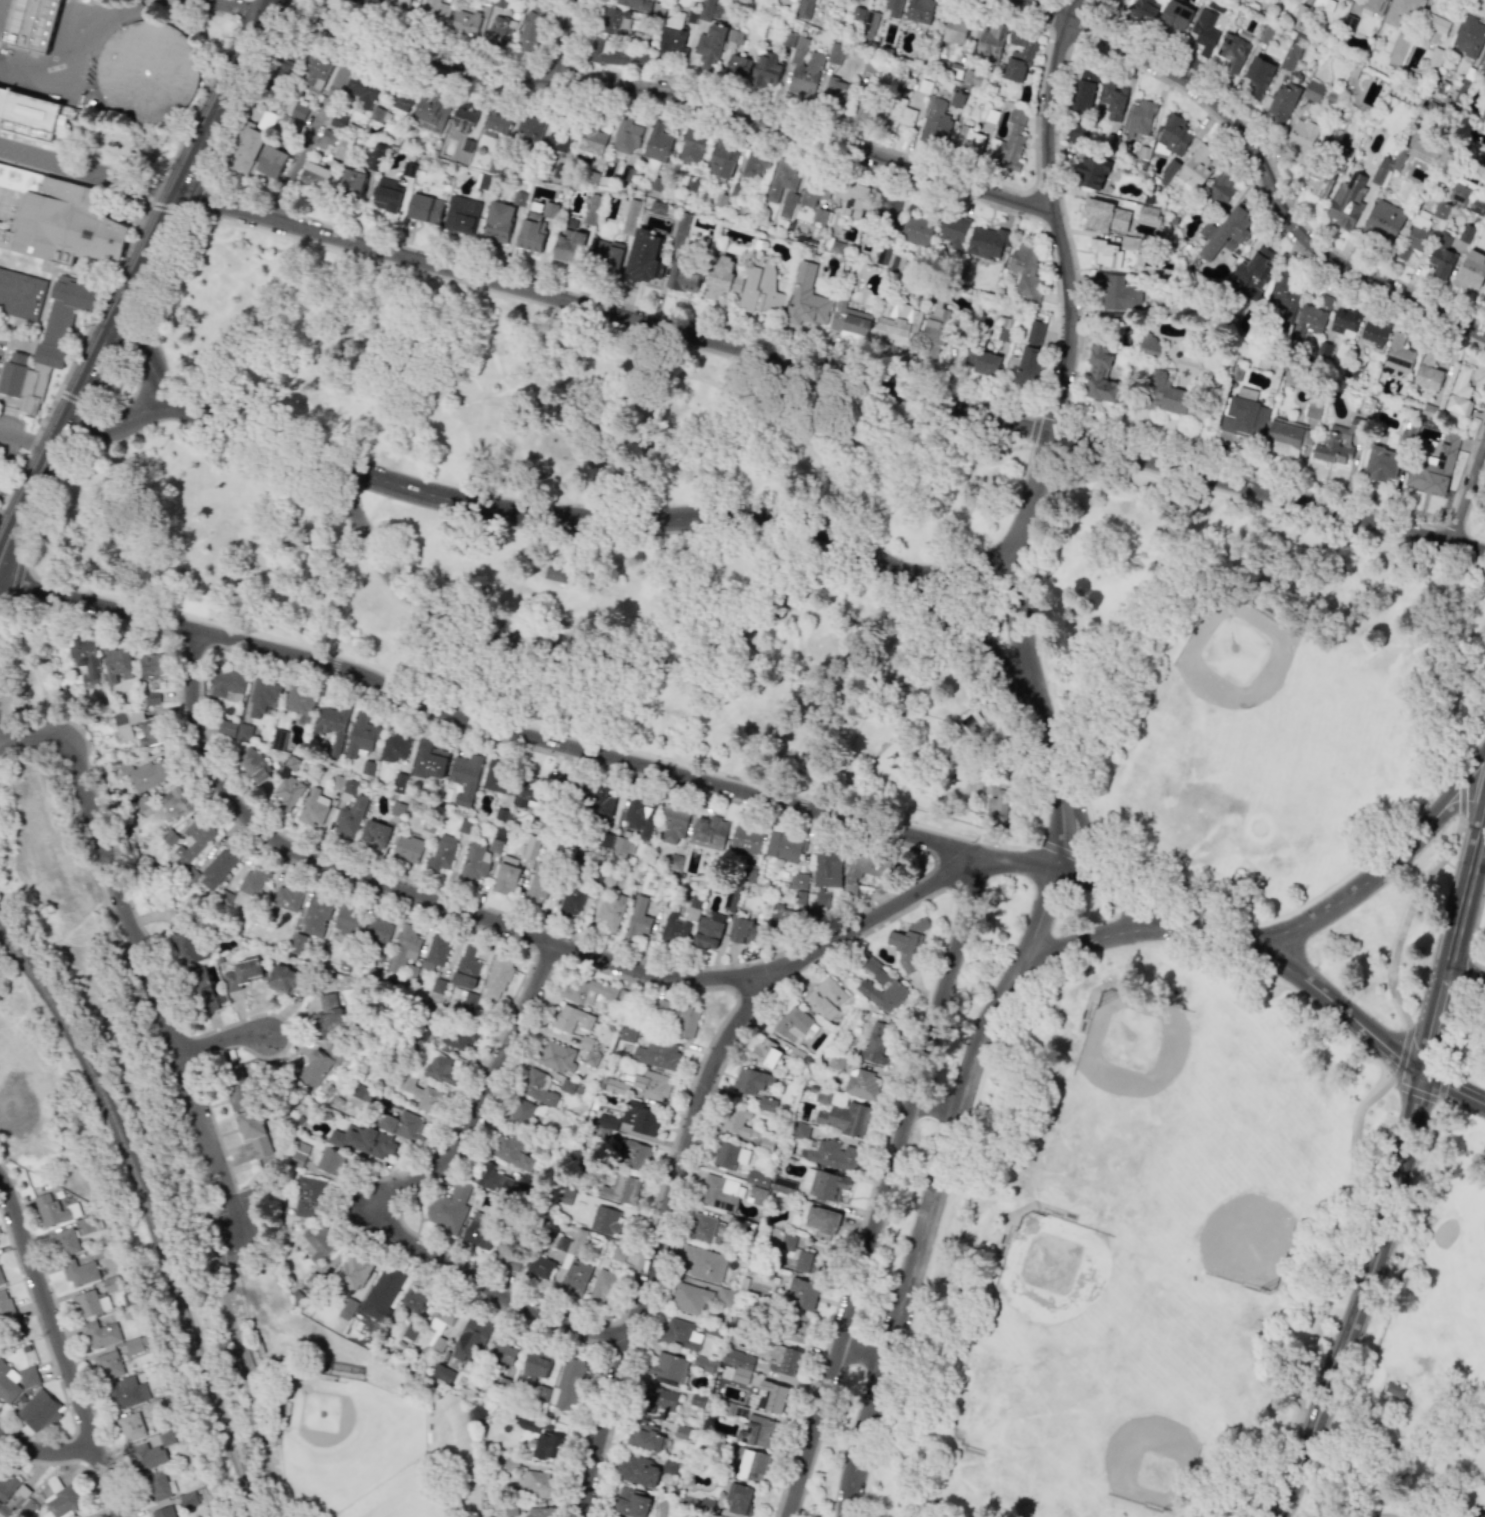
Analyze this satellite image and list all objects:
road: (1053, 0)
building: (365, 2)
building: (398, 3)
building: (1108, 3)
building: (634, 4)
road: (238, 6)
building: (893, 7)
building: (1373, 7)
building: (1145, 8)
building: (805, 9)
building: (919, 10)
building: (435, 11)
road: (286, 12)
building: (705, 12)
building: (857, 15)
building: (1175, 17)
building: (1438, 17)
building: (466, 21)
building: (613, 21)
building: (870, 24)
building: (38, 25)
building: (1398, 27)
building: (530, 28)
building: (500, 30)
building: (955, 30)
building: (1203, 31)
building: (734, 36)
building: (1468, 38)
building: (670, 39)
road: (567, 42)
building: (991, 42)
building: (708, 46)
road: (449, 51)
building: (1233, 52)
building: (835, 53)
building: (613, 54)
building: (1290, 56)
building: (1018, 58)
building: (284, 63)
building: (737, 67)
building: (802, 67)
building: (1482, 68)
building: (147, 69)
storage tank: (147, 69)
building: (764, 69)
building: (314, 74)
building: (1258, 75)
building: (362, 88)
building: (1083, 90)
road: (662, 91)
building: (1312, 91)
building: (399, 97)
building: (1112, 99)
road: (240, 102)
building: (1282, 102)
road: (647, 104)
building: (295, 109)
building: (431, 110)
building: (865, 110)
building: (900, 113)
building: (28, 114)
building: (376, 114)
building: (1483, 114)
building: (1140, 118)
building: (337, 120)
building: (934, 120)
building: (497, 122)
road: (312, 127)
building: (529, 129)
building: (1077, 131)
building: (625, 135)
building: (1173, 135)
building: (324, 139)
building: (558, 139)
building: (1299, 139)
building: (968, 141)
building: (591, 142)
building: (657, 143)
road: (877, 145)
building: (1010, 145)
building: (691, 146)
building: (247, 151)
building: (373, 156)
building: (722, 158)
building: (271, 162)
building: (781, 164)
road: (1257, 164)
building: (754, 166)
building: (1196, 166)
road: (91, 169)
road: (1274, 170)
building: (1091, 171)
building: (315, 176)
building: (1318, 182)
building: (352, 184)
building: (1219, 191)
building: (812, 193)
building: (771, 194)
building: (386, 195)
building: (1458, 195)
road: (193, 196)
building: (787, 205)
building: (424, 208)
building: (660, 208)
building: (852, 208)
building: (1477, 208)
building: (590, 209)
building: (888, 209)
building: (1440, 210)
building: (461, 214)
building: (630, 215)
building: (1148, 215)
building: (819, 216)
building: (1105, 216)
building: (57, 220)
building: (498, 221)
building: (1384, 221)
building: (918, 226)
building: (535, 227)
building: (682, 228)
building: (953, 231)
building: (1224, 233)
building: (1414, 234)
building: (568, 242)
building: (986, 242)
road: (1291, 244)
building: (605, 255)
building: (644, 256)
building: (1441, 256)
building: (1470, 270)
building: (1025, 271)
building: (1254, 272)
building: (719, 277)
road: (137, 278)
building: (683, 279)
building: (761, 288)
building: (1116, 292)
building: (1283, 293)
building: (20, 295)
building: (805, 298)
building: (1484, 298)
building: (898, 319)
building: (849, 321)
building: (1308, 321)
building: (1344, 321)
road: (607, 326)
road: (725, 332)
building: (934, 332)
building: (1374, 334)
building: (46, 343)
building: (1031, 346)
building: (1149, 347)
building: (1399, 353)
road: (149, 357)
building: (986, 363)
building: (1428, 371)
road: (832, 374)
building: (1101, 375)
building: (1293, 379)
road: (1073, 380)
building: (1459, 391)
building: (1312, 410)
road: (201, 417)
building: (1243, 418)
road: (1032, 428)
building: (1286, 437)
road: (1048, 438)
road: (25, 439)
building: (1336, 444)
road: (1465, 460)
building: (1382, 463)
building: (1434, 467)
road: (1466, 487)
road: (12, 494)
road: (584, 518)
road: (1440, 525)
road: (979, 568)
building: (556, 574)
road: (951, 613)
road: (565, 631)
road: (1447, 641)
building: (86, 658)
building: (116, 664)
building: (153, 666)
road: (1044, 666)
street lamp: (1439, 674)
building: (227, 683)
building: (263, 697)
building: (151, 698)
building: (300, 701)
road: (487, 725)
building: (332, 726)
building: (226, 727)
building: (136, 728)
building: (242, 731)
building: (361, 735)
park: (1265, 740)
building: (394, 746)
building: (429, 761)
building: (252, 763)
building: (497, 776)
building: (465, 777)
building: (399, 783)
building: (287, 786)
building: (348, 786)
road: (1460, 788)
building: (529, 792)
building: (174, 801)
building: (601, 804)
building: (313, 807)
building: (998, 807)
building: (639, 816)
building: (349, 818)
building: (673, 824)
building: (709, 832)
building: (374, 836)
building: (169, 838)
building: (745, 839)
building: (193, 840)
building: (495, 845)
building: (620, 846)
building: (782, 846)
building: (407, 848)
building: (441, 853)
building: (673, 861)
building: (473, 863)
road: (1017, 864)
building: (865, 865)
building: (217, 868)
building: (190, 874)
road: (1372, 874)
building: (506, 875)
building: (825, 877)
building: (253, 881)
building: (797, 881)
building: (538, 884)
road: (427, 895)
building: (287, 897)
building: (799, 897)
building: (570, 902)
building: (730, 902)
road: (892, 902)
road: (1141, 904)
park: (1209, 908)
building: (610, 911)
building: (316, 915)
road: (1407, 915)
building: (781, 916)
building: (638, 919)
building: (346, 920)
building: (680, 922)
road: (70, 927)
road: (1473, 929)
building: (378, 930)
building: (708, 930)
building: (745, 930)
road: (132, 937)
road: (1083, 940)
railway: (13, 944)
building: (907, 945)
road: (1452, 945)
road: (12, 947)
building: (185, 947)
building: (404, 947)
building: (435, 951)
building: (466, 968)
road: (1465, 974)
road: (1469, 974)
building: (497, 977)
building: (282, 979)
building: (438, 985)
building: (880, 986)
building: (201, 989)
building: (589, 991)
building: (826, 997)
road: (1330, 1000)
building: (330, 1014)
building: (679, 1018)
building: (571, 1019)
building: (795, 1025)
road: (1455, 1027)
building: (627, 1034)
building: (458, 1037)
road: (221, 1038)
building: (875, 1043)
building: (765, 1053)
road: (1402, 1053)
building: (657, 1054)
building: (555, 1057)
building: (590, 1058)
road: (1377, 1062)
building: (319, 1065)
building: (439, 1068)
park: (1147, 1072)
building: (750, 1081)
road: (1442, 1083)
building: (653, 1085)
building: (862, 1085)
building: (240, 1086)
building: (567, 1086)
building: (535, 1087)
road: (1454, 1089)
road: (491, 1091)
road: (1413, 1091)
building: (420, 1092)
building: (822, 1096)
building: (370, 1098)
building: (767, 1103)
road: (934, 1108)
building: (520, 1111)
building: (640, 1118)
building: (845, 1118)
building: (737, 1122)
building: (402, 1125)
building: (603, 1125)
building: (799, 1130)
building: (256, 1135)
building: (365, 1141)
building: (506, 1148)
building: (299, 1154)
building: (633, 1154)
building: (831, 1154)
building: (729, 1155)
building: (330, 1160)
building: (527, 1163)
building: (757, 1178)
building: (494, 1181)
building: (784, 1184)
building: (829, 1186)
road: (882, 1186)
building: (621, 1189)
road: (937, 1190)
building: (716, 1194)
building: (757, 1195)
building: (564, 1196)
building: (310, 1197)
park: (1247, 1204)
building: (450, 1208)
park: (1472, 1210)
building: (51, 1211)
road: (662, 1218)
road: (235, 1219)
building: (606, 1221)
building: (821, 1222)
building: (701, 1227)
railway: (157, 1231)
building: (478, 1231)
building: (66, 1241)
building: (319, 1241)
building: (786, 1245)
building: (507, 1256)
building: (807, 1262)
building: (704, 1263)
building: (573, 1264)
building: (539, 1268)
building: (79, 1272)
building: (353, 1272)
building: (1, 1279)
park: (1447, 1285)
building: (601, 1287)
park: (1064, 1291)
building: (381, 1293)
building: (805, 1294)
road: (500, 1295)
road: (919, 1295)
building: (724, 1297)
building: (415, 1298)
building: (689, 1298)
road: (1360, 1299)
building: (90, 1303)
building: (5, 1308)
building: (347, 1308)
building: (439, 1324)
building: (795, 1327)
building: (101, 1333)
building: (679, 1333)
building: (138, 1345)
road: (60, 1349)
road: (861, 1352)
road: (240, 1354)
building: (498, 1358)
building: (781, 1360)
building: (703, 1363)
building: (108, 1365)
building: (535, 1366)
building: (668, 1366)
building: (739, 1367)
building: (442, 1373)
building: (15, 1381)
building: (570, 1381)
building: (504, 1384)
building: (1395, 1389)
building: (126, 1392)
building: (543, 1392)
building: (771, 1397)
building: (658, 1399)
building: (696, 1400)
building: (39, 1411)
building: (478, 1412)
park: (344, 1414)
building: (528, 1422)
building: (131, 1427)
building: (681, 1432)
building: (757, 1432)
park: (1133, 1433)
building: (646, 1437)
building: (548, 1445)
road: (45, 1451)
building: (150, 1453)
building: (508, 1463)
building: (753, 1465)
building: (668, 1467)
building: (637, 1471)
building: (538, 1484)
building: (159, 1485)
building: (10, 1495)
building: (60, 1498)
building: (739, 1498)
building: (188, 1499)
building: (631, 1502)
road: (1468, 1507)
building: (511, 1508)
building: (543, 1511)
building: (162, 1512)
road: (1384, 1514)

